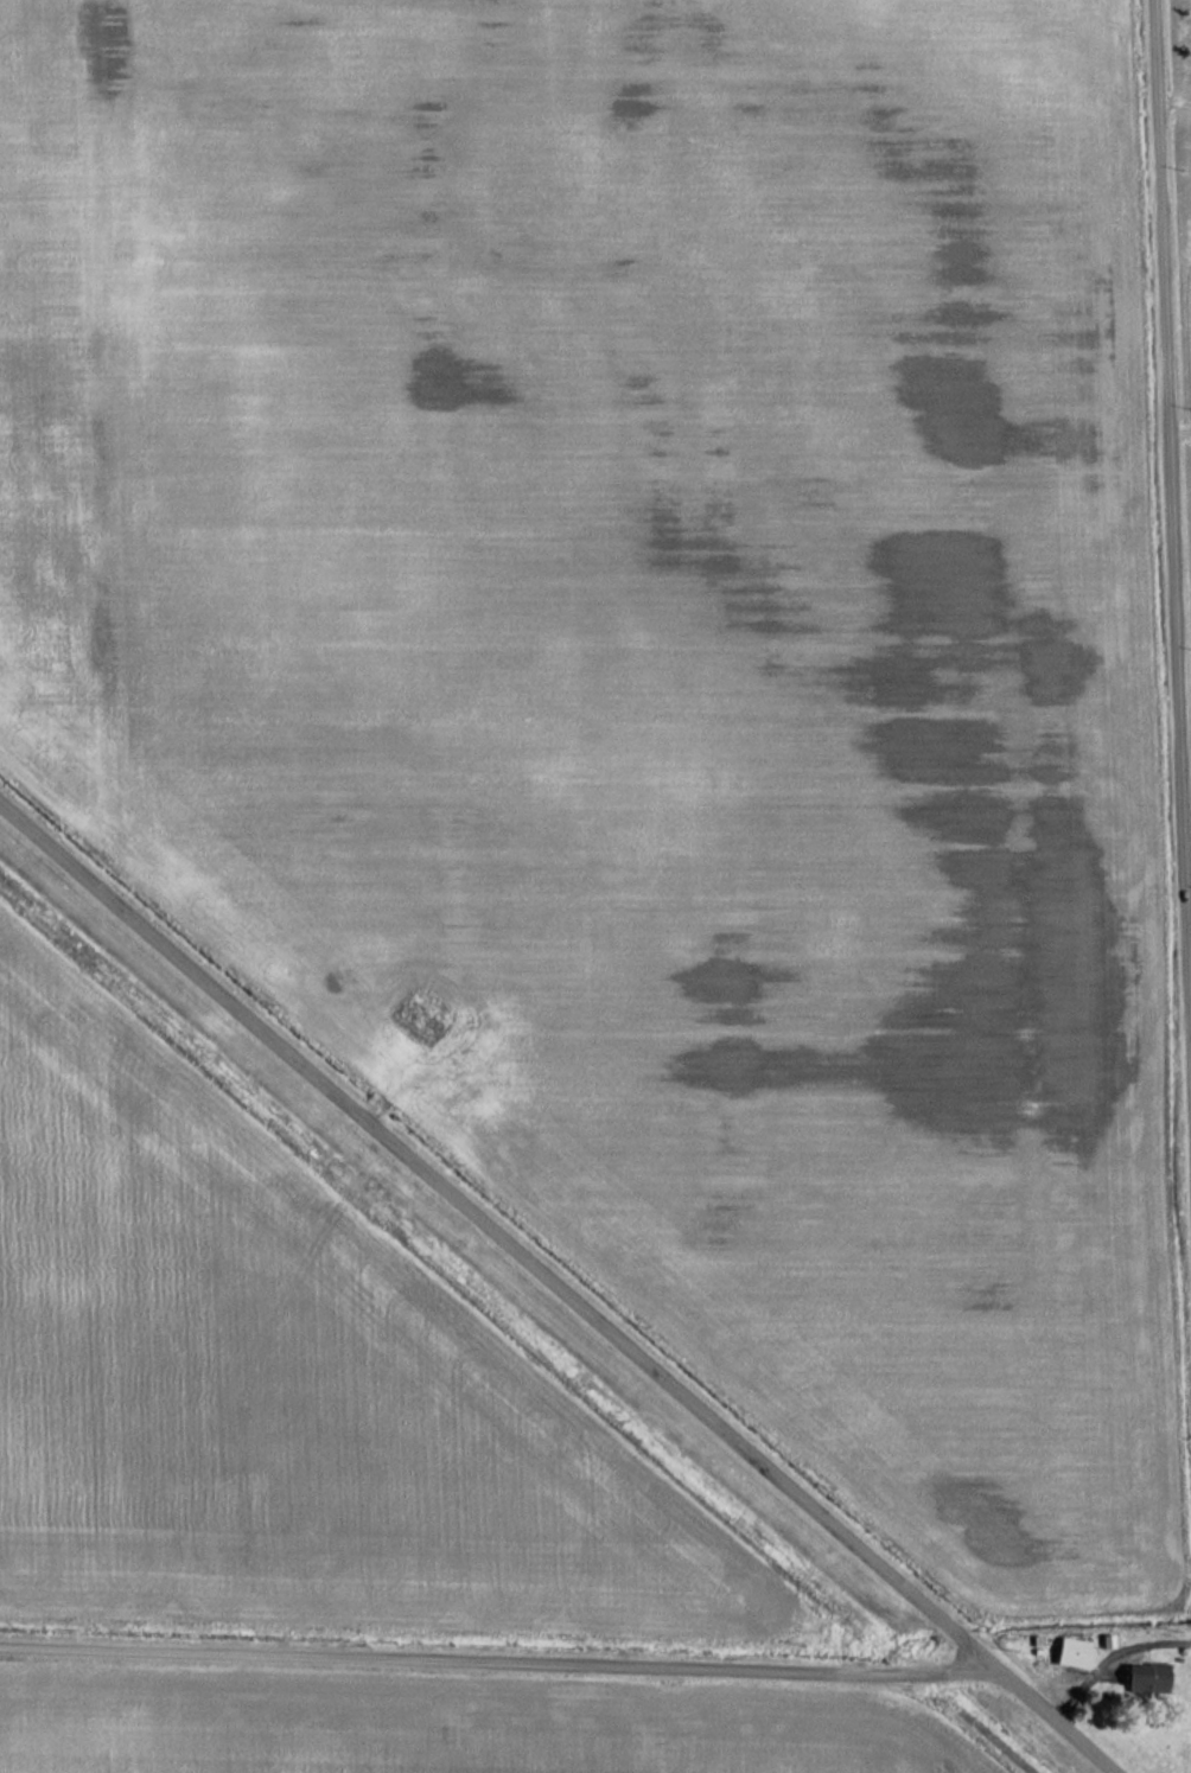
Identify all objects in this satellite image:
road: (1176, 101)
crop: (47, 420)
crop: (618, 492)
road: (1172, 492)
road: (1187, 824)
road: (497, 1233)
crop: (871, 1239)
railway: (510, 1329)
crop: (269, 1386)
building: (1074, 1653)
road: (471, 1659)
building: (1146, 1677)
road: (1033, 1702)
crop: (445, 1728)

